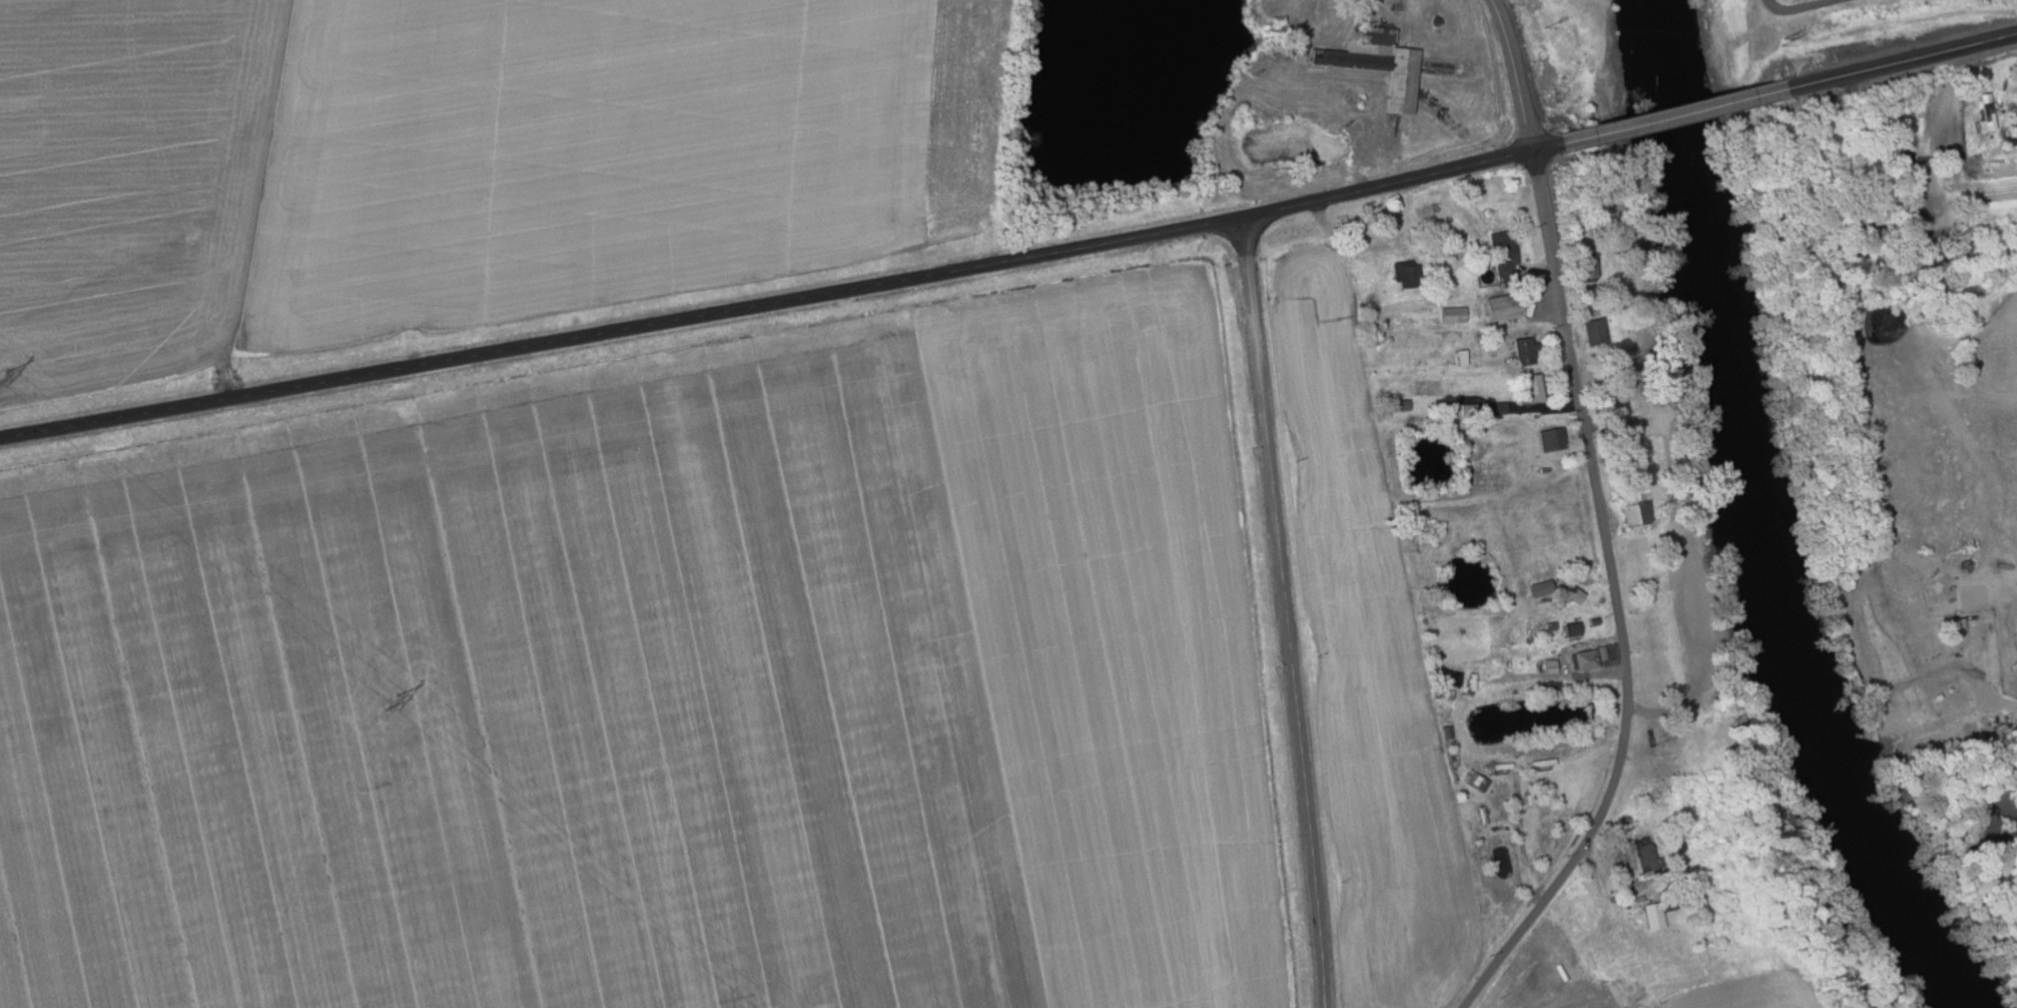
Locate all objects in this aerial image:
road: (1905, 62)
building: (1385, 67)
road: (1513, 74)
road: (1675, 116)
building: (1991, 125)
building: (1413, 276)
road: (780, 300)
building: (1510, 308)
building: (1459, 316)
building: (1530, 353)
building: (1537, 390)
building: (1506, 409)
building: (1557, 441)
building: (1639, 516)
river: (1765, 522)
building: (1543, 591)
building: (1579, 595)
road: (1617, 600)
road: (1287, 613)
building: (1960, 629)
building: (1589, 662)
power tower: (392, 705)
building: (1644, 860)
building: (1672, 901)
building: (1659, 918)

